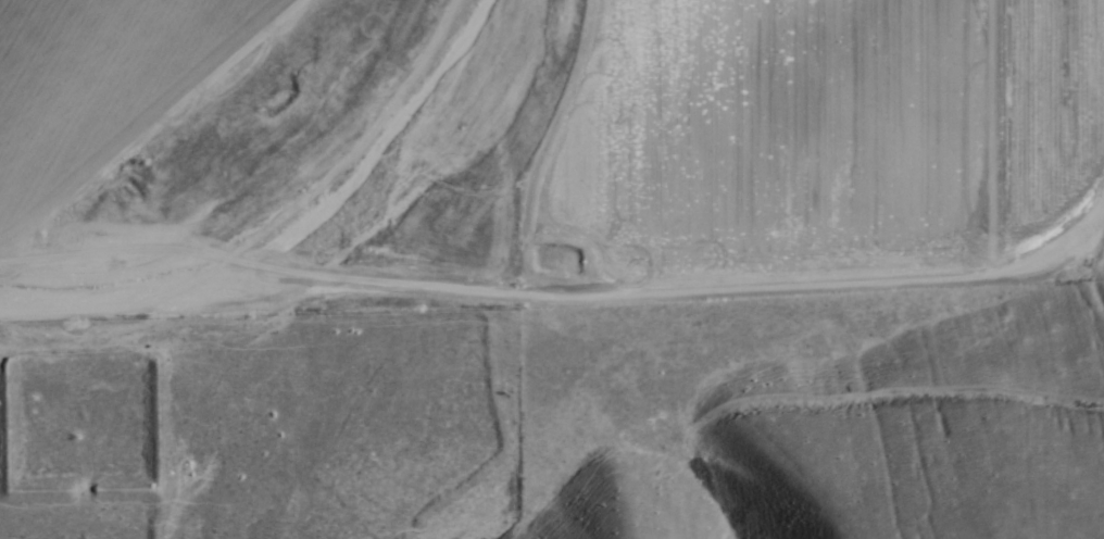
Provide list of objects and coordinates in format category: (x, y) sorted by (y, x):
road: (522, 158)
road: (563, 314)
road: (756, 412)

